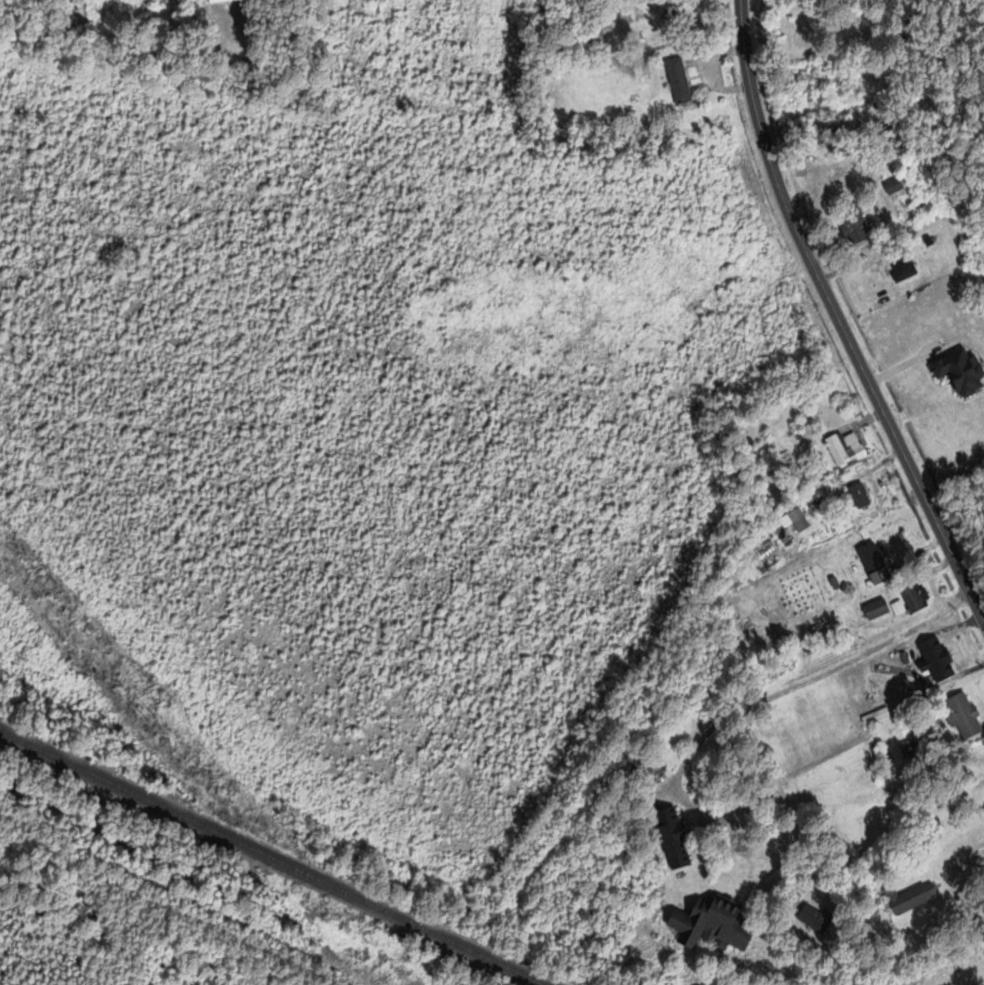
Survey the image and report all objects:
building: (218, 0)
building: (682, 81)
building: (897, 185)
building: (859, 225)
building: (907, 270)
road: (839, 312)
building: (849, 449)
building: (863, 494)
building: (876, 557)
building: (919, 596)
building: (879, 608)
building: (944, 655)
building: (884, 667)
road: (790, 683)
building: (891, 685)
building: (966, 714)
power tower: (156, 717)
building: (873, 717)
building: (651, 765)
building: (677, 837)
railway: (274, 856)
building: (913, 896)
building: (818, 918)
building: (717, 923)

